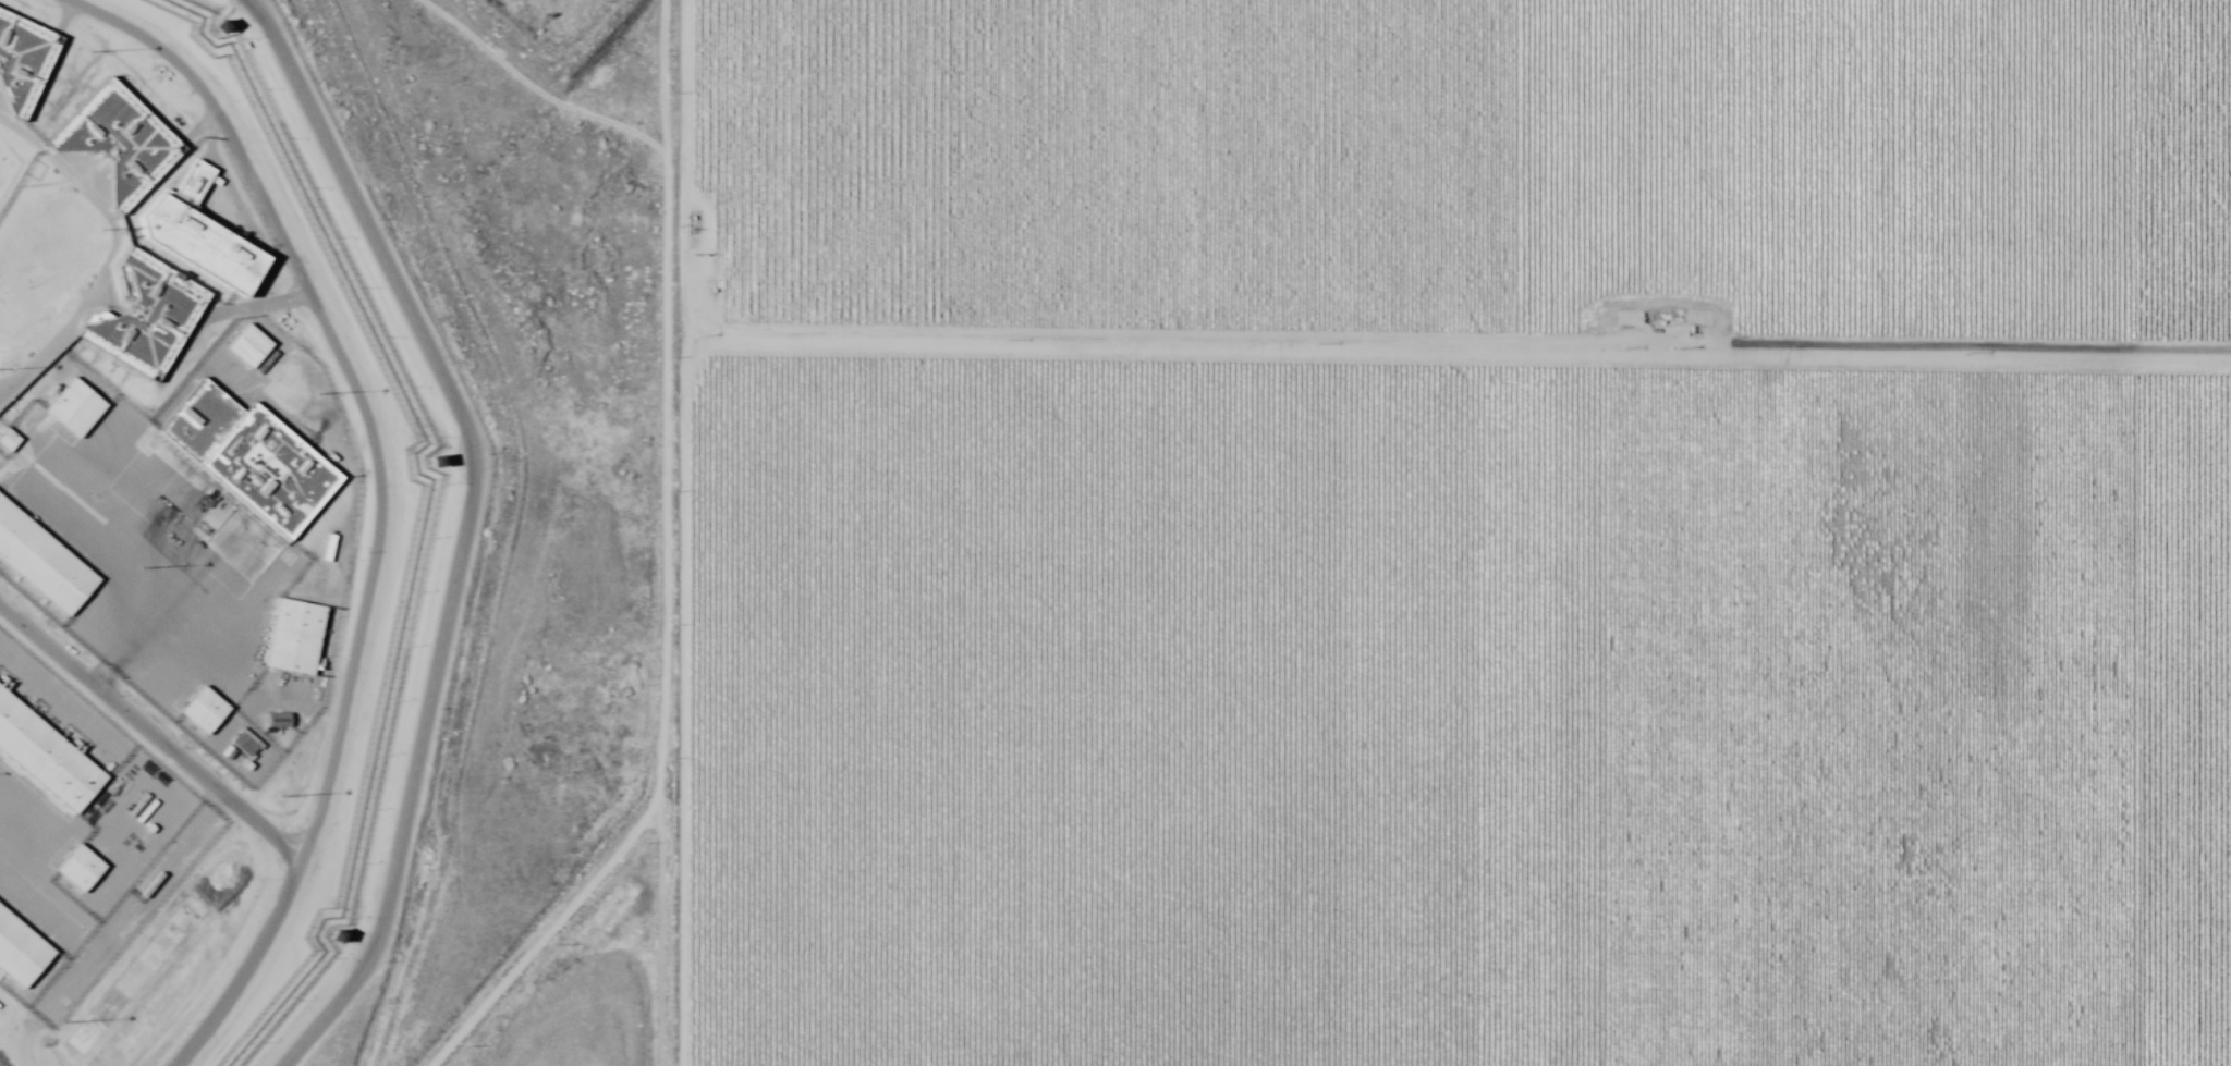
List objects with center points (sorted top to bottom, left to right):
building: (216, 25)
wastewater plant: (554, 25)
building: (22, 61)
building: (117, 139)
building: (146, 316)
building: (247, 344)
road: (1097, 344)
building: (73, 407)
building: (7, 439)
building: (249, 457)
building: (430, 461)
road: (465, 527)
road: (660, 532)
crop: (1454, 532)
building: (40, 562)
building: (294, 636)
building: (203, 709)
building: (277, 720)
building: (245, 744)
building: (45, 756)
building: (78, 868)
building: (334, 930)
building: (19, 951)

